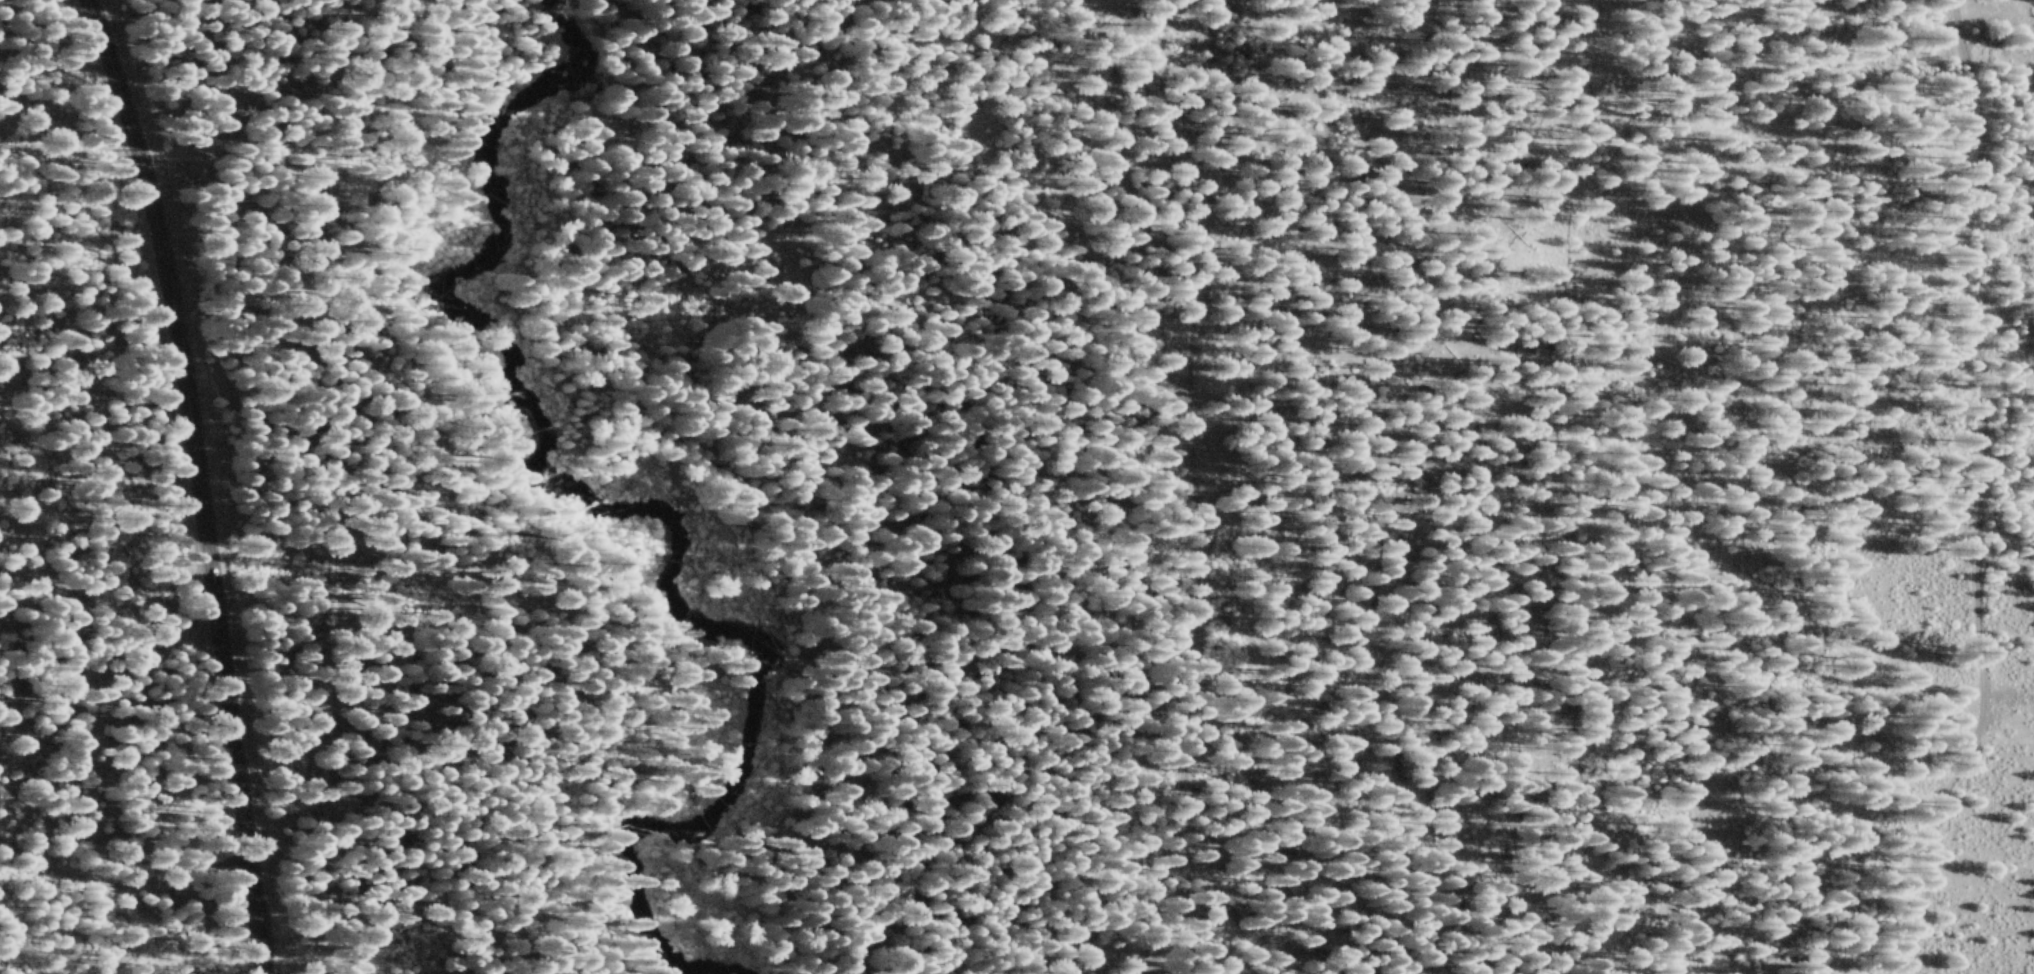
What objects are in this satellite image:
road: (199, 481)

